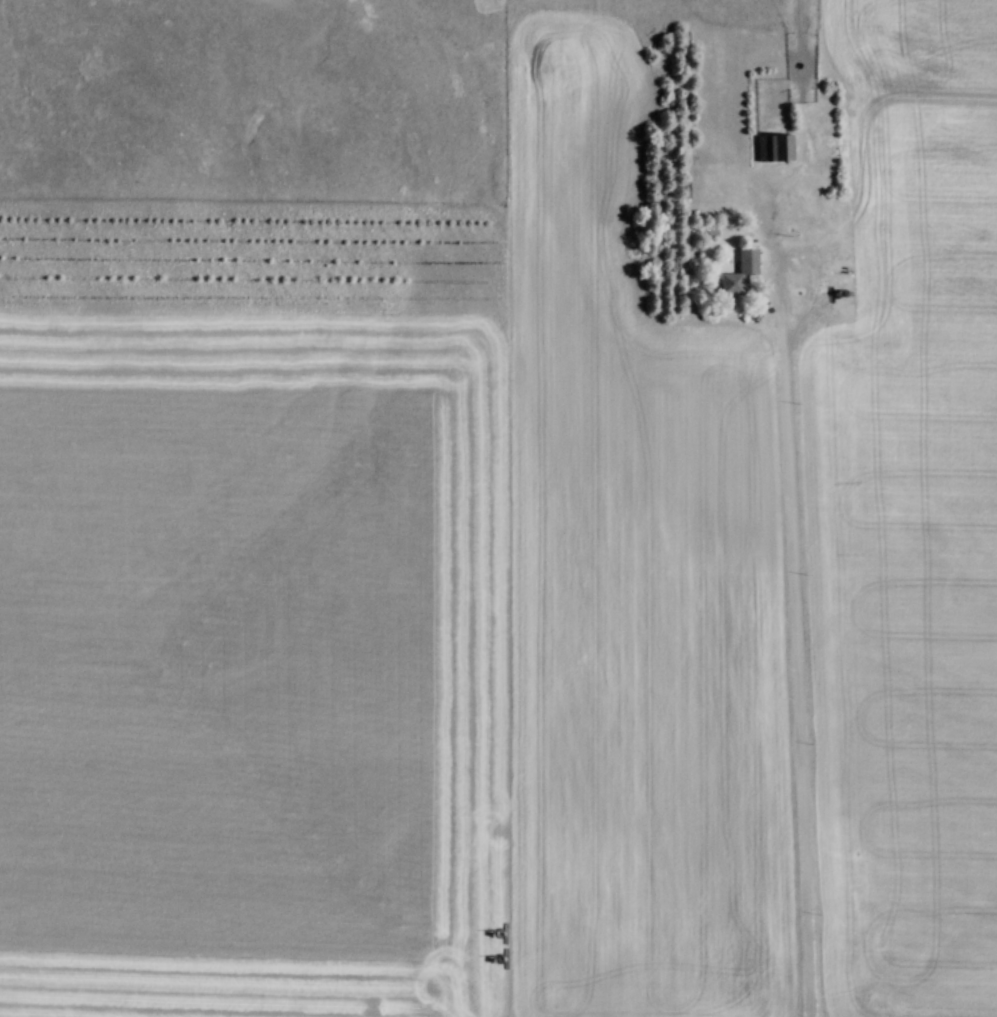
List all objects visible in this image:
building: (772, 147)
building: (733, 277)
crop: (909, 519)
road: (795, 597)
crop: (404, 630)

